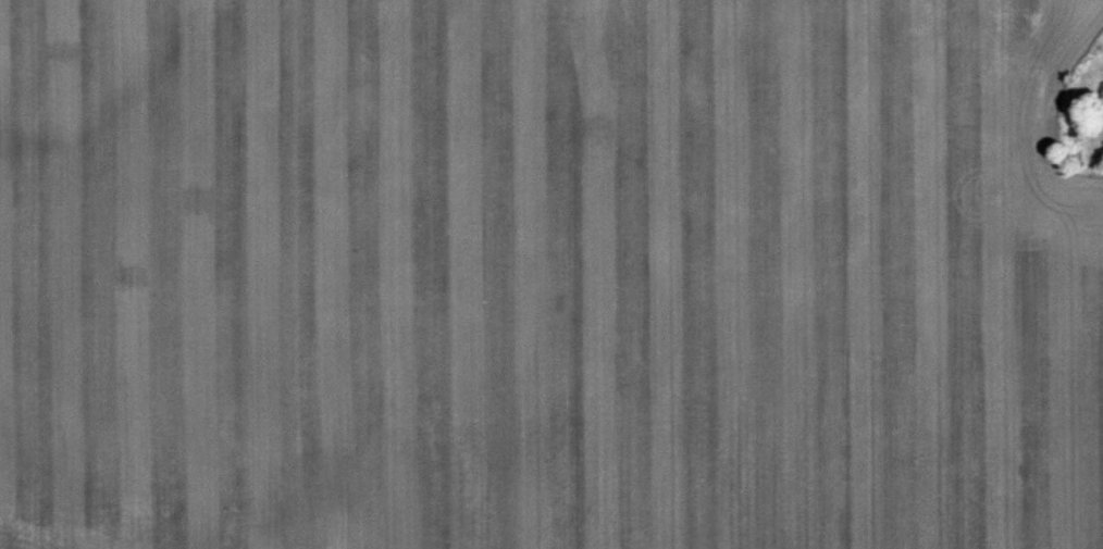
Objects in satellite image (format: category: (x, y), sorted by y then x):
crop: (551, 274)

